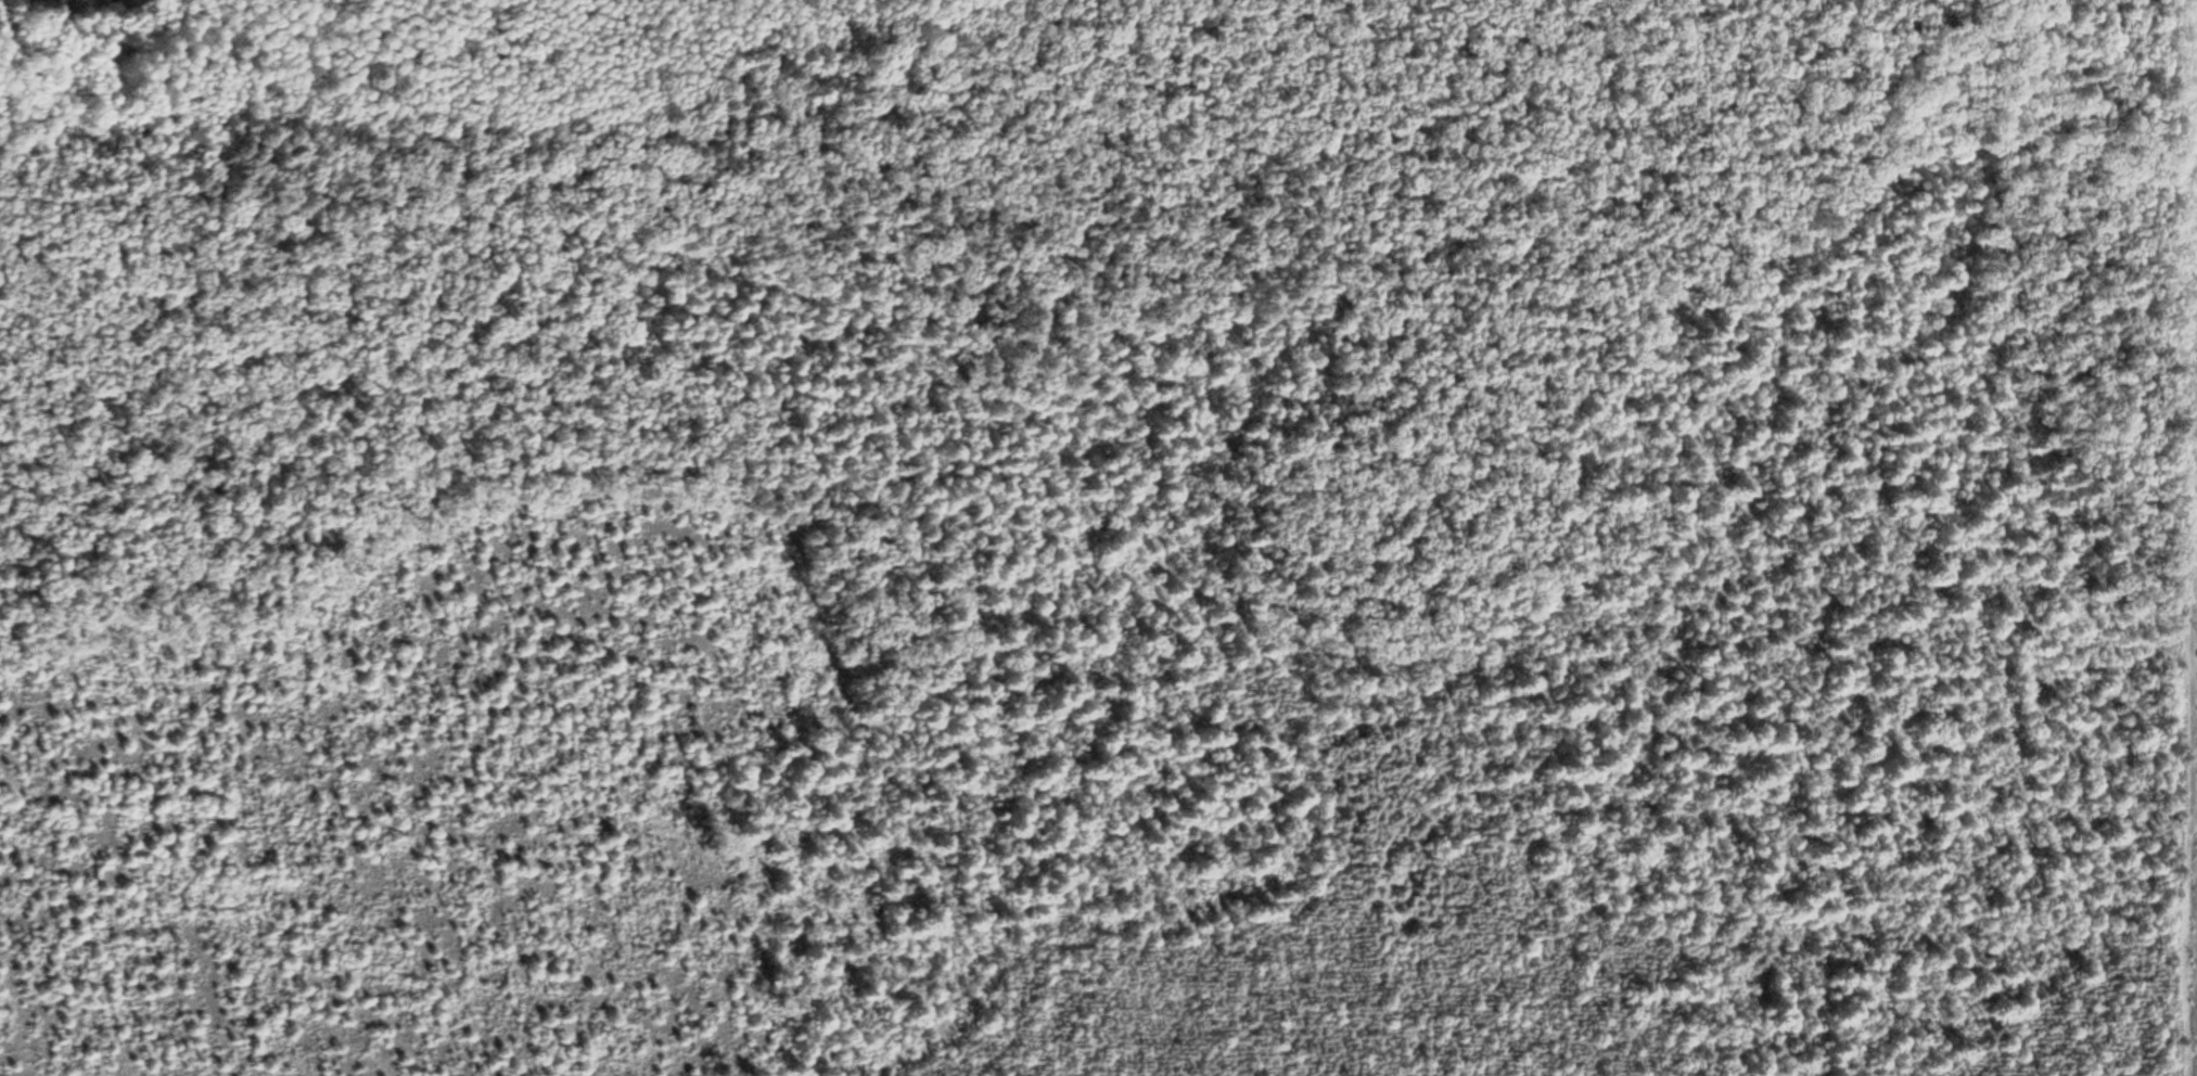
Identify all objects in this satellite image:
road: (2193, 1007)

